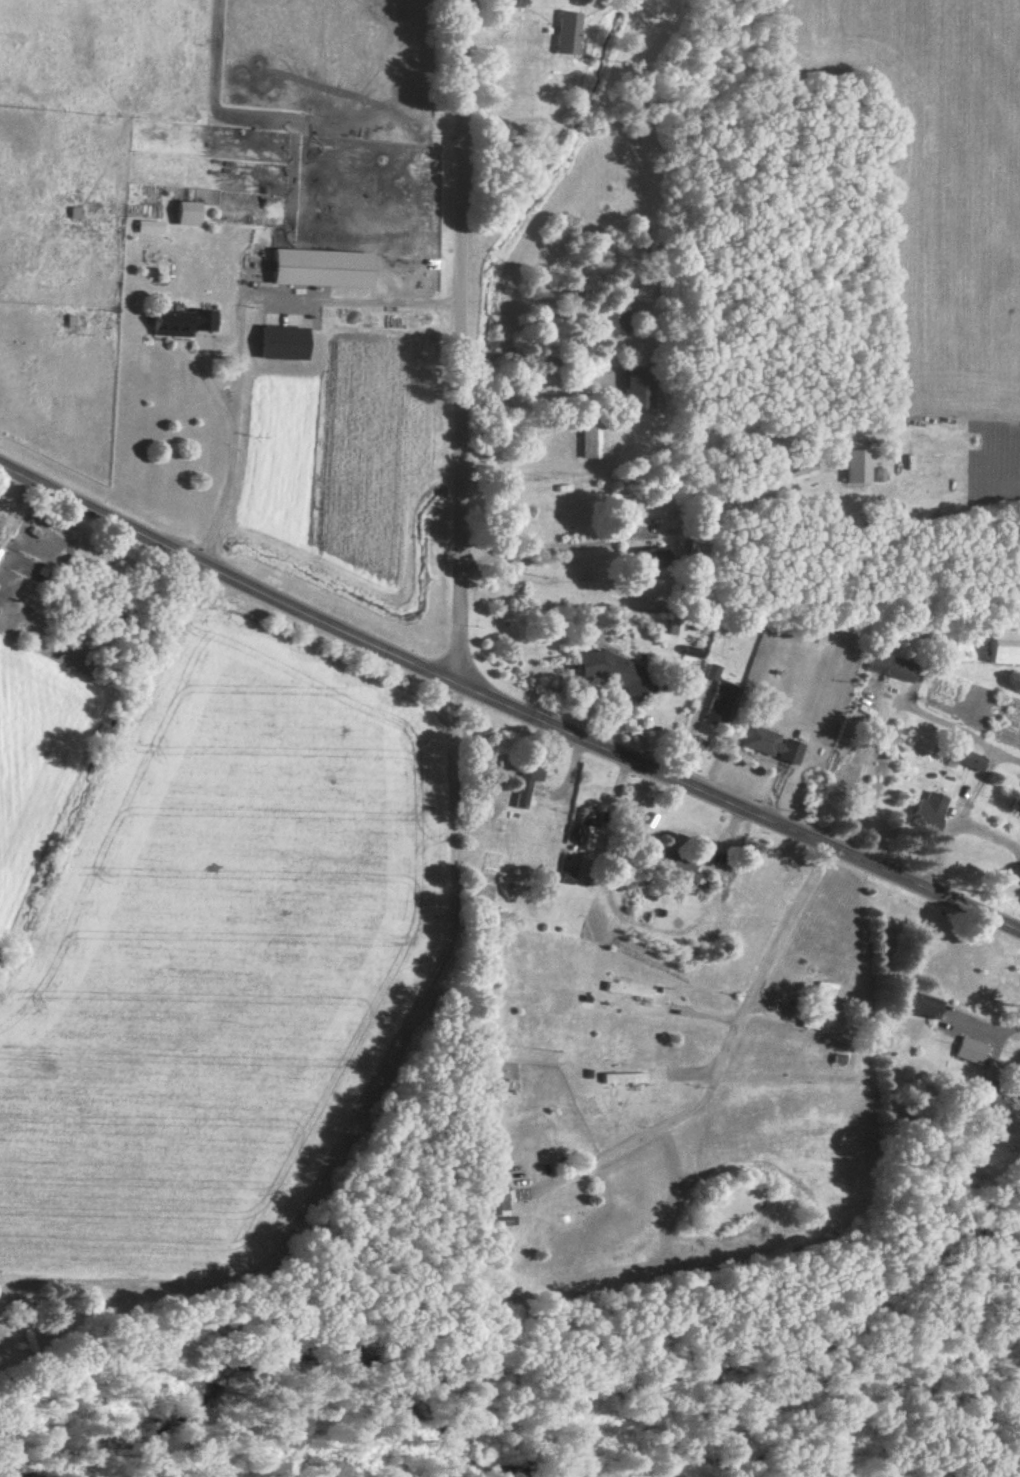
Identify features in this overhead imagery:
building: (567, 36)
building: (187, 215)
building: (322, 270)
building: (611, 317)
building: (181, 324)
road: (459, 339)
building: (283, 344)
building: (638, 390)
building: (589, 436)
building: (790, 479)
building: (648, 560)
building: (1004, 648)
road: (744, 659)
road: (506, 702)
building: (720, 706)
building: (772, 746)
building: (961, 753)
building: (844, 765)
building: (926, 818)
building: (586, 827)
building: (679, 870)
building: (627, 992)
building: (925, 1008)
building: (822, 1028)
building: (972, 1052)
building: (994, 1071)
building: (623, 1080)
road: (347, 1106)
building: (496, 1210)
road: (1002, 1406)

